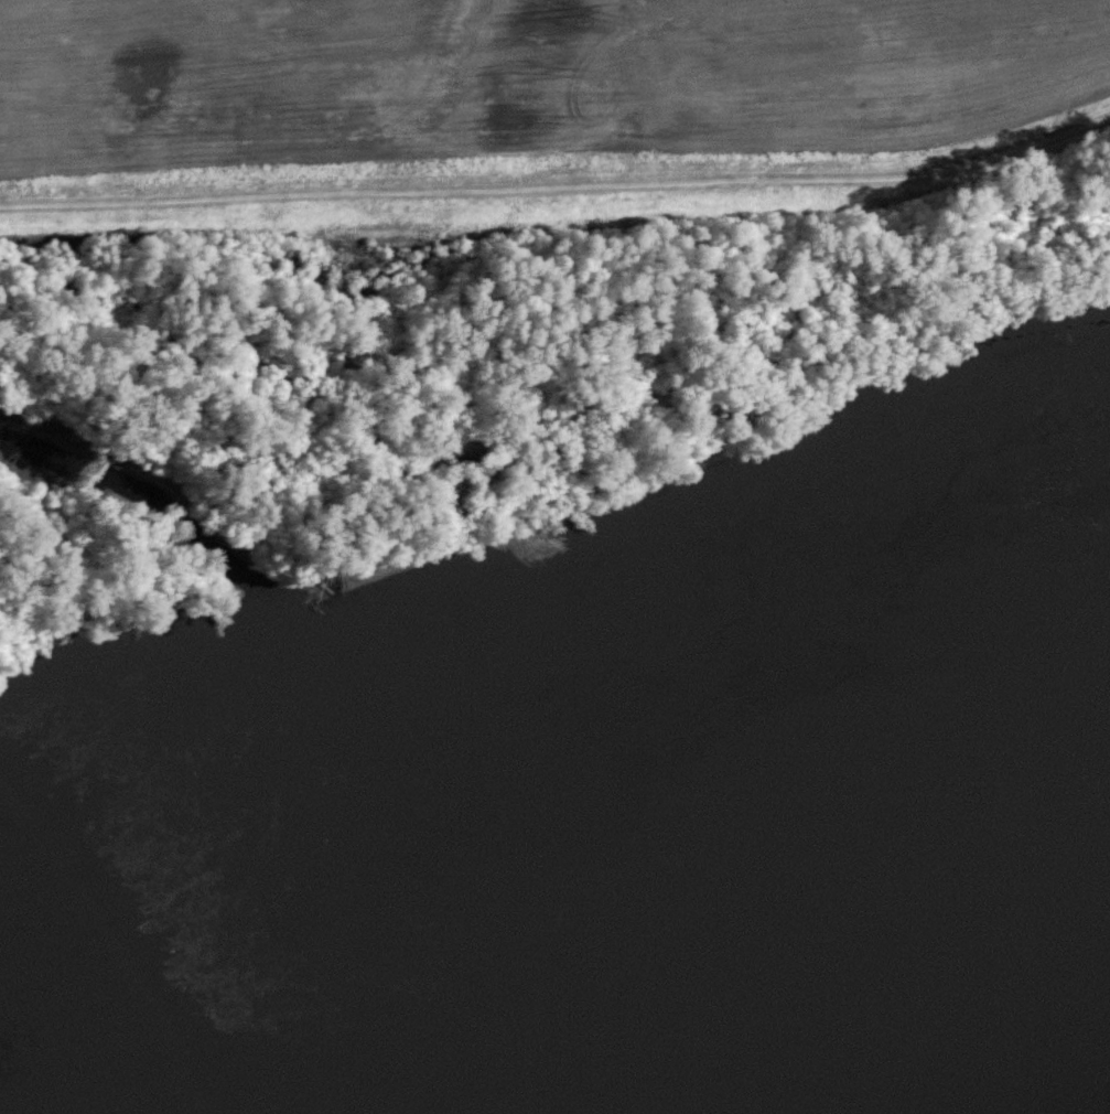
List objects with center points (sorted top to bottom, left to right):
river: (907, 1024)

